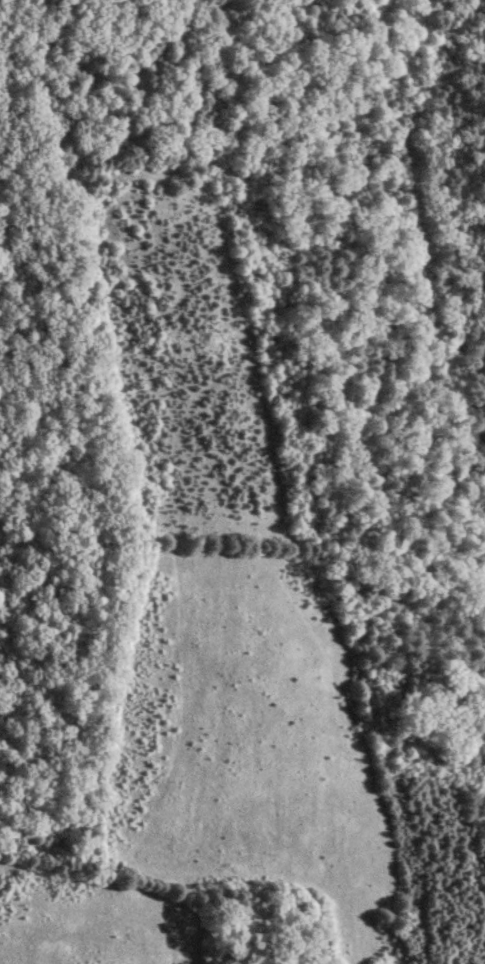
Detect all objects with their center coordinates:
building: (194, 734)
building: (286, 759)

